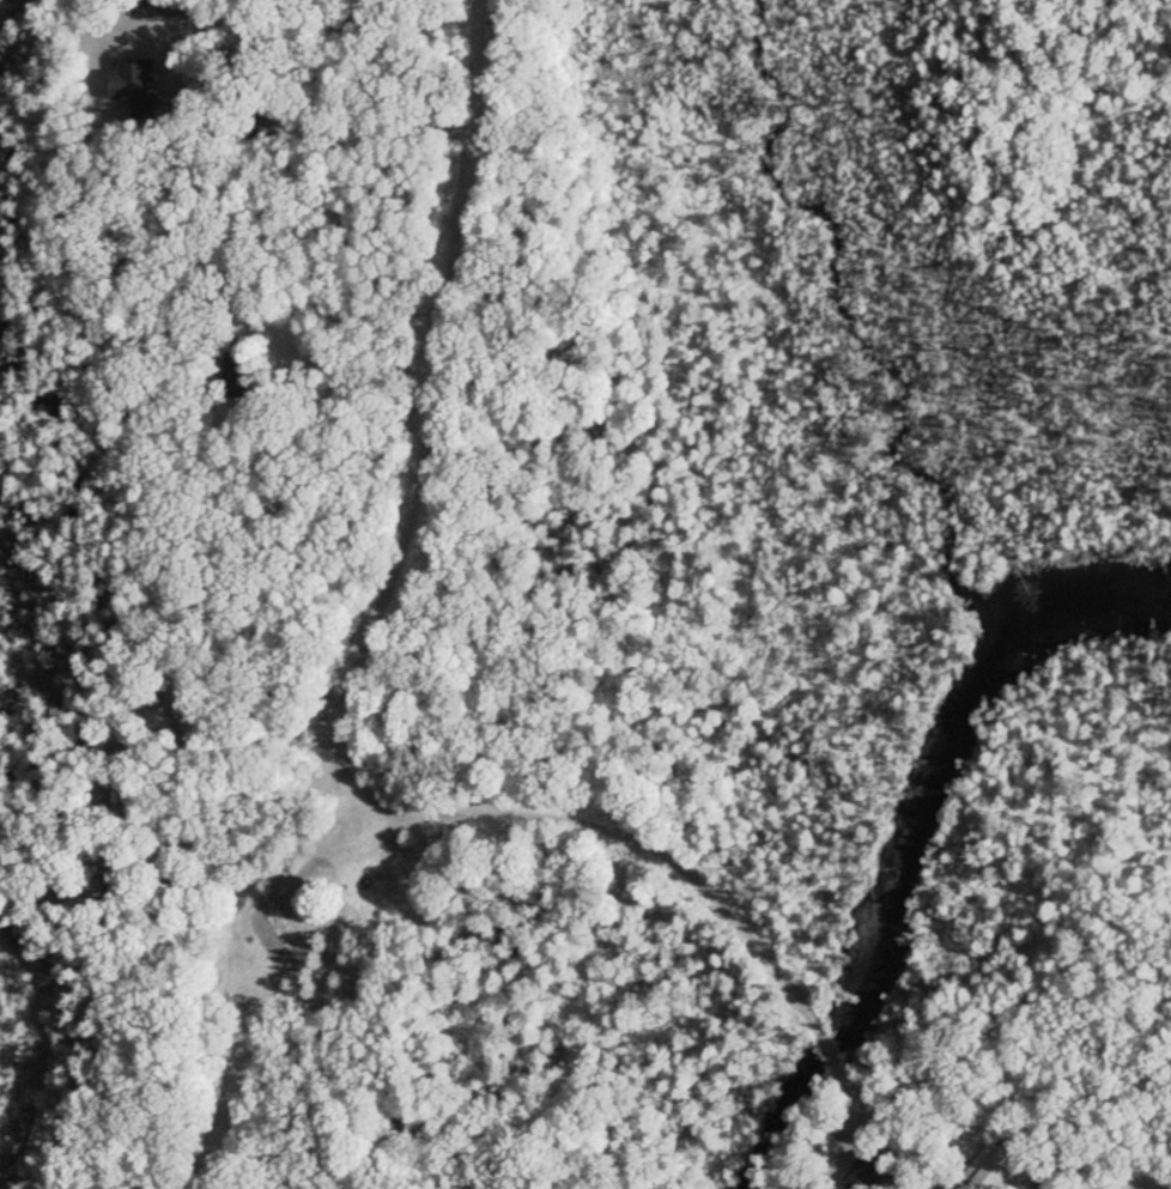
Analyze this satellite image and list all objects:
road: (443, 384)
river: (916, 830)
building: (1001, 1164)

